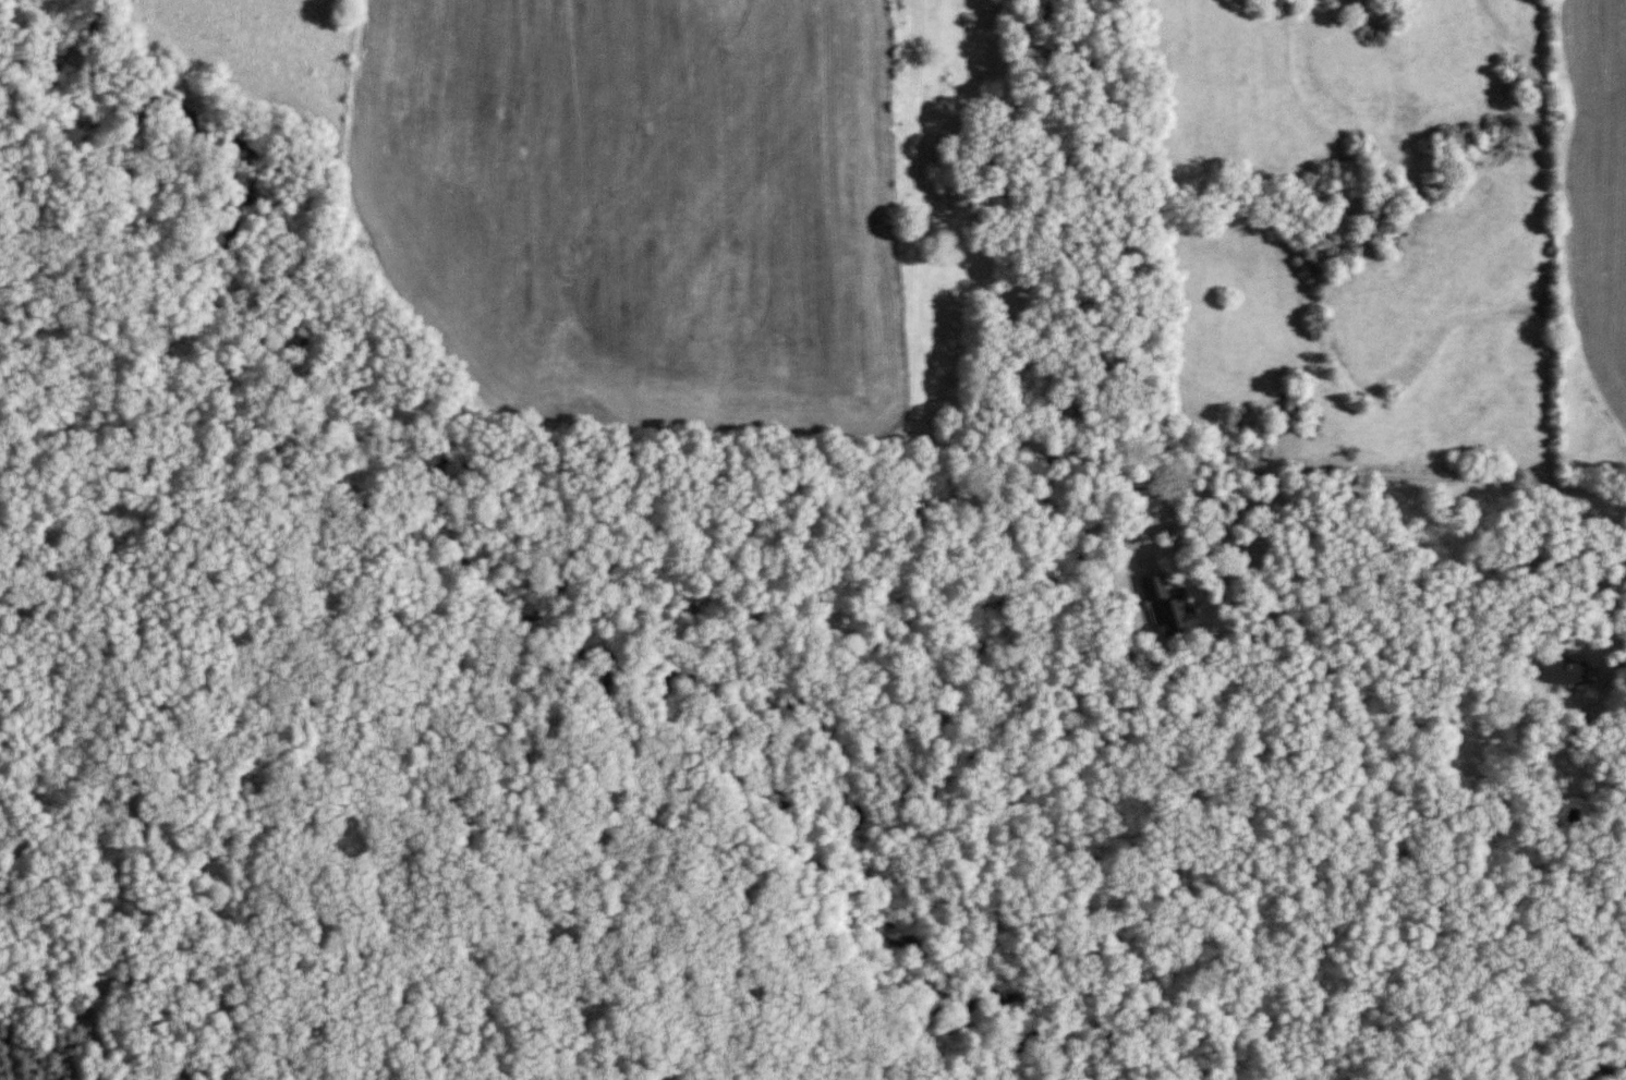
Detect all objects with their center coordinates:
road: (1370, 474)
road: (1609, 640)

